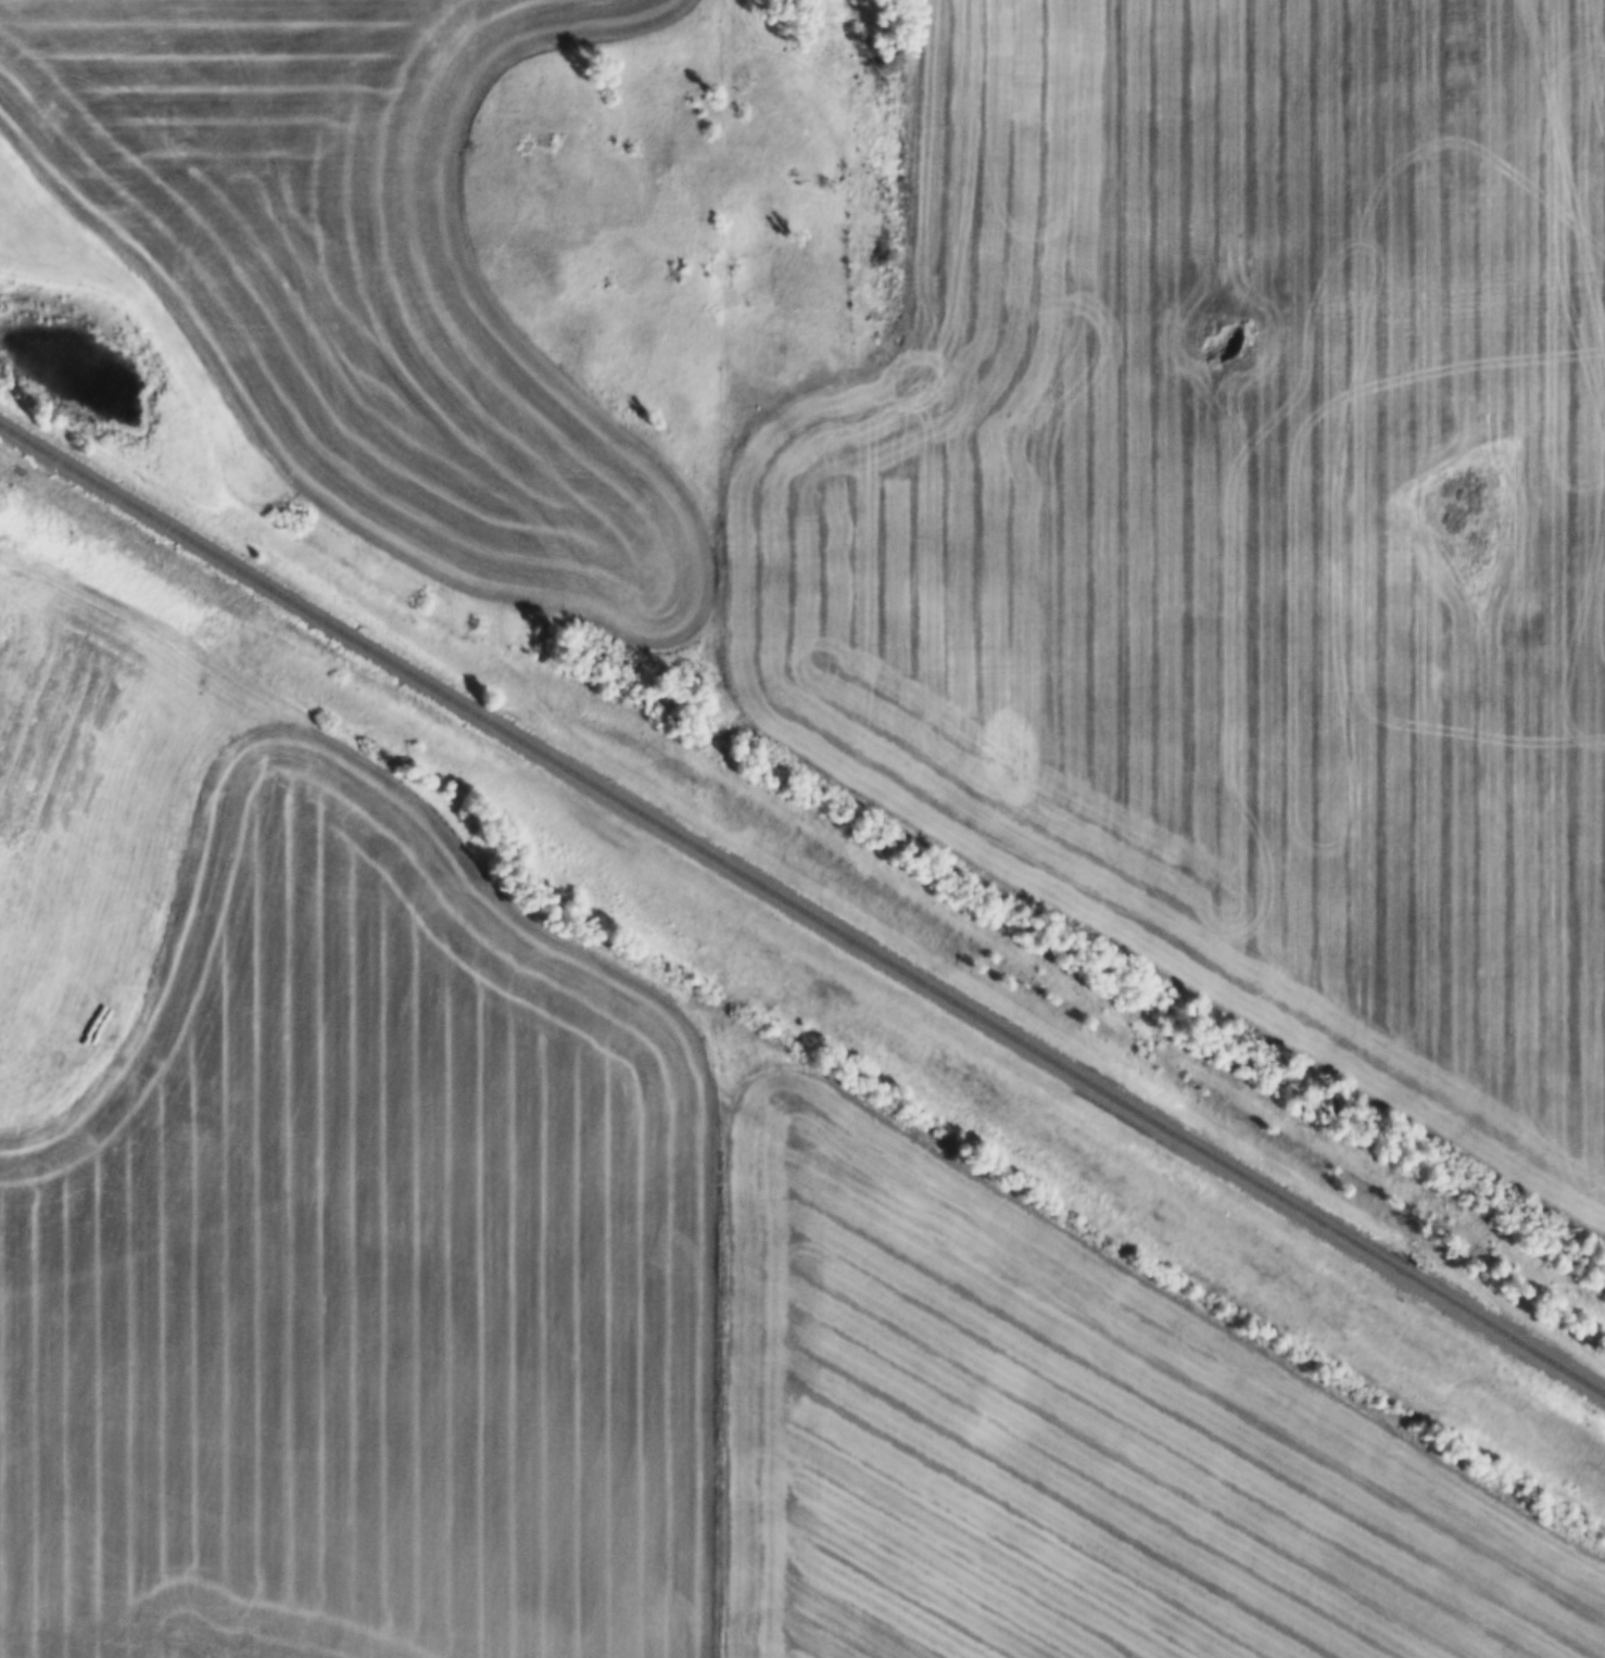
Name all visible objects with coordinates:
railway: (802, 911)

